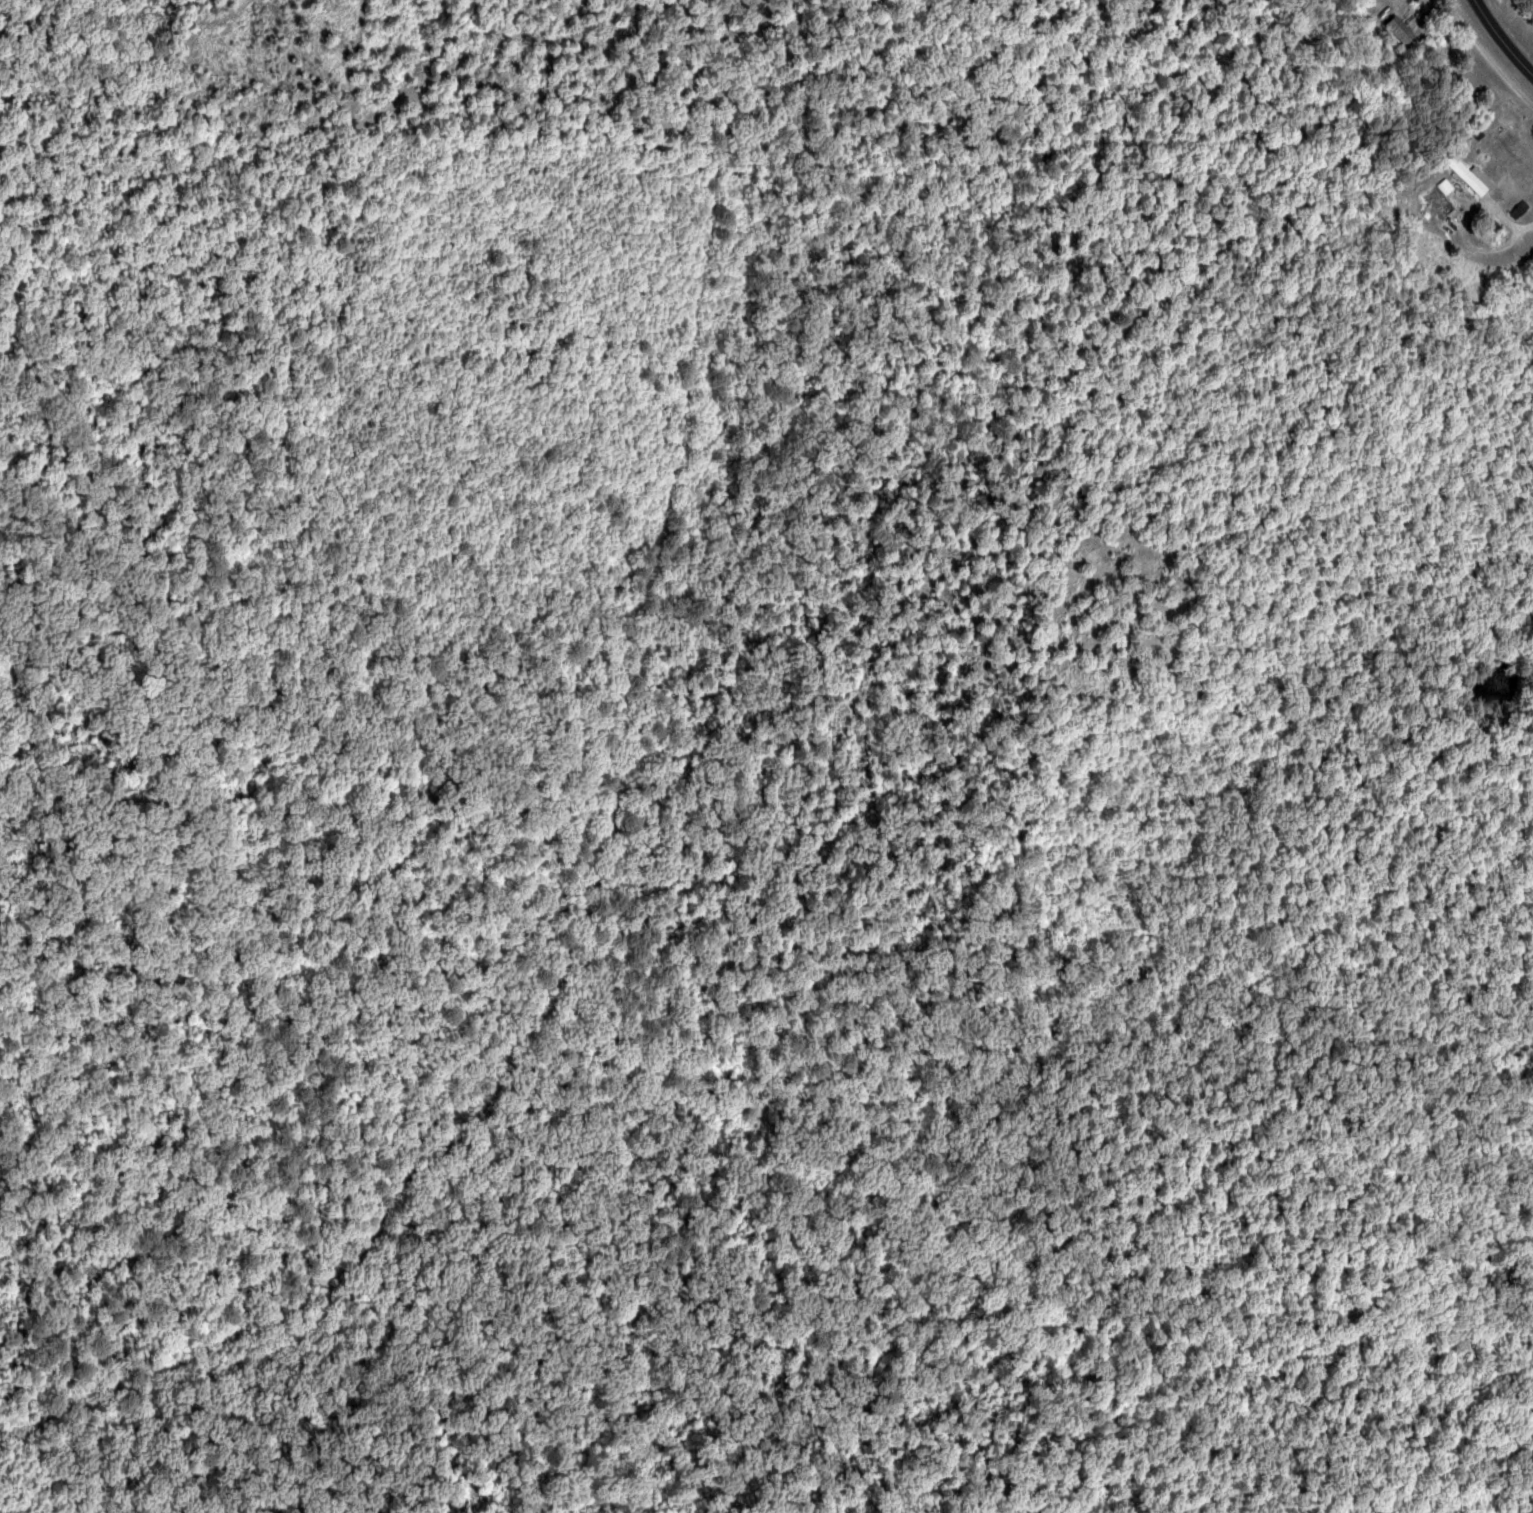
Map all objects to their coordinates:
road: (1497, 40)
building: (1473, 176)
building: (1448, 187)

